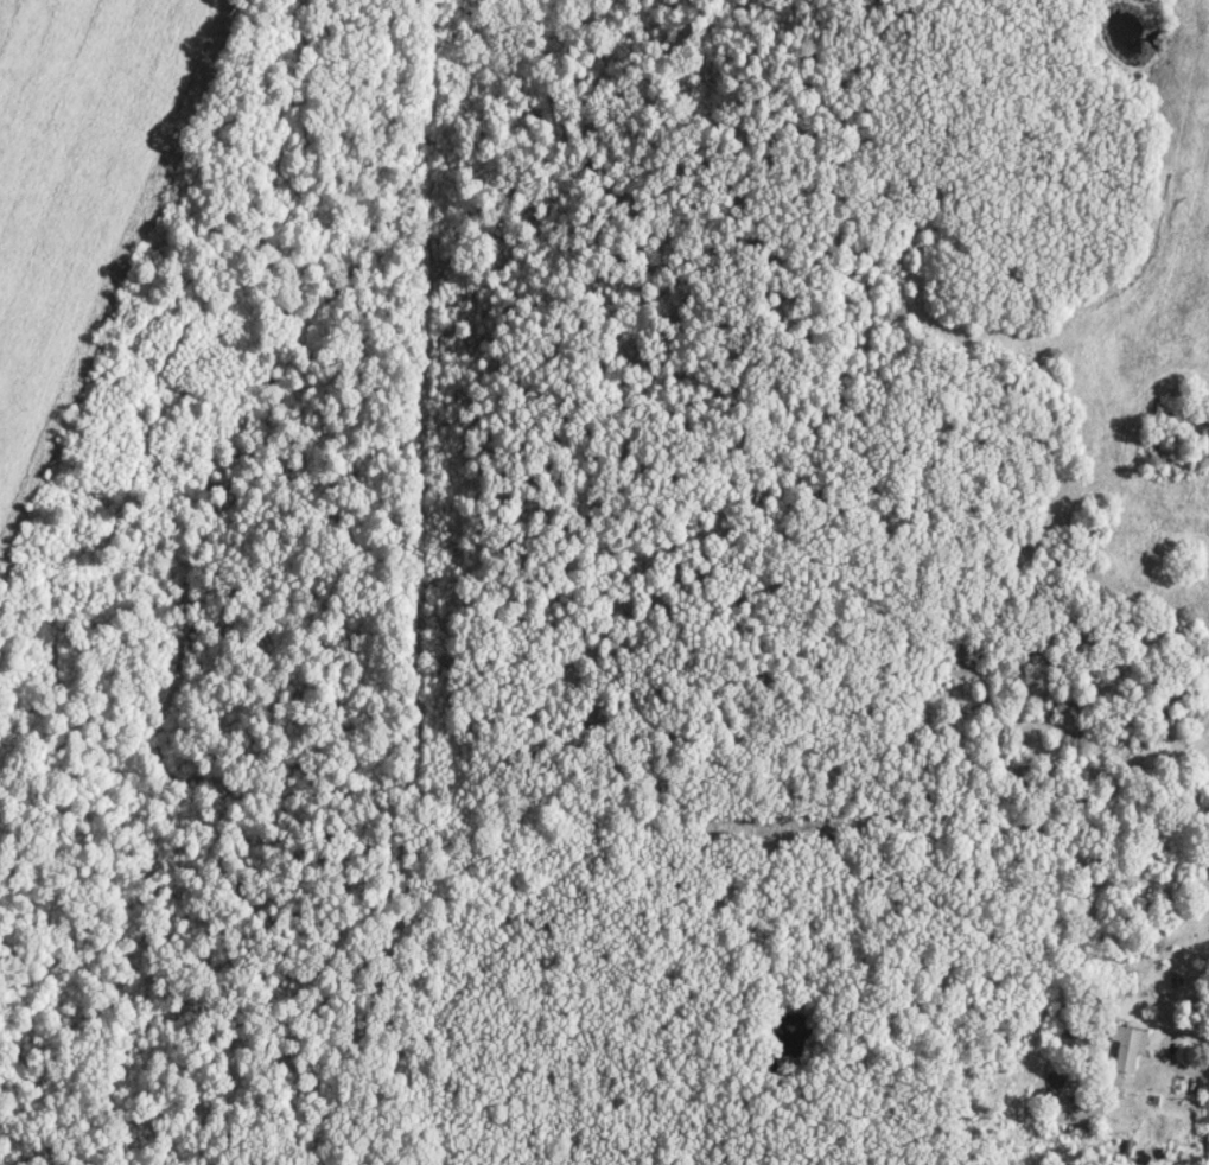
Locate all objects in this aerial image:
building: (1126, 1050)
road: (1179, 1055)

